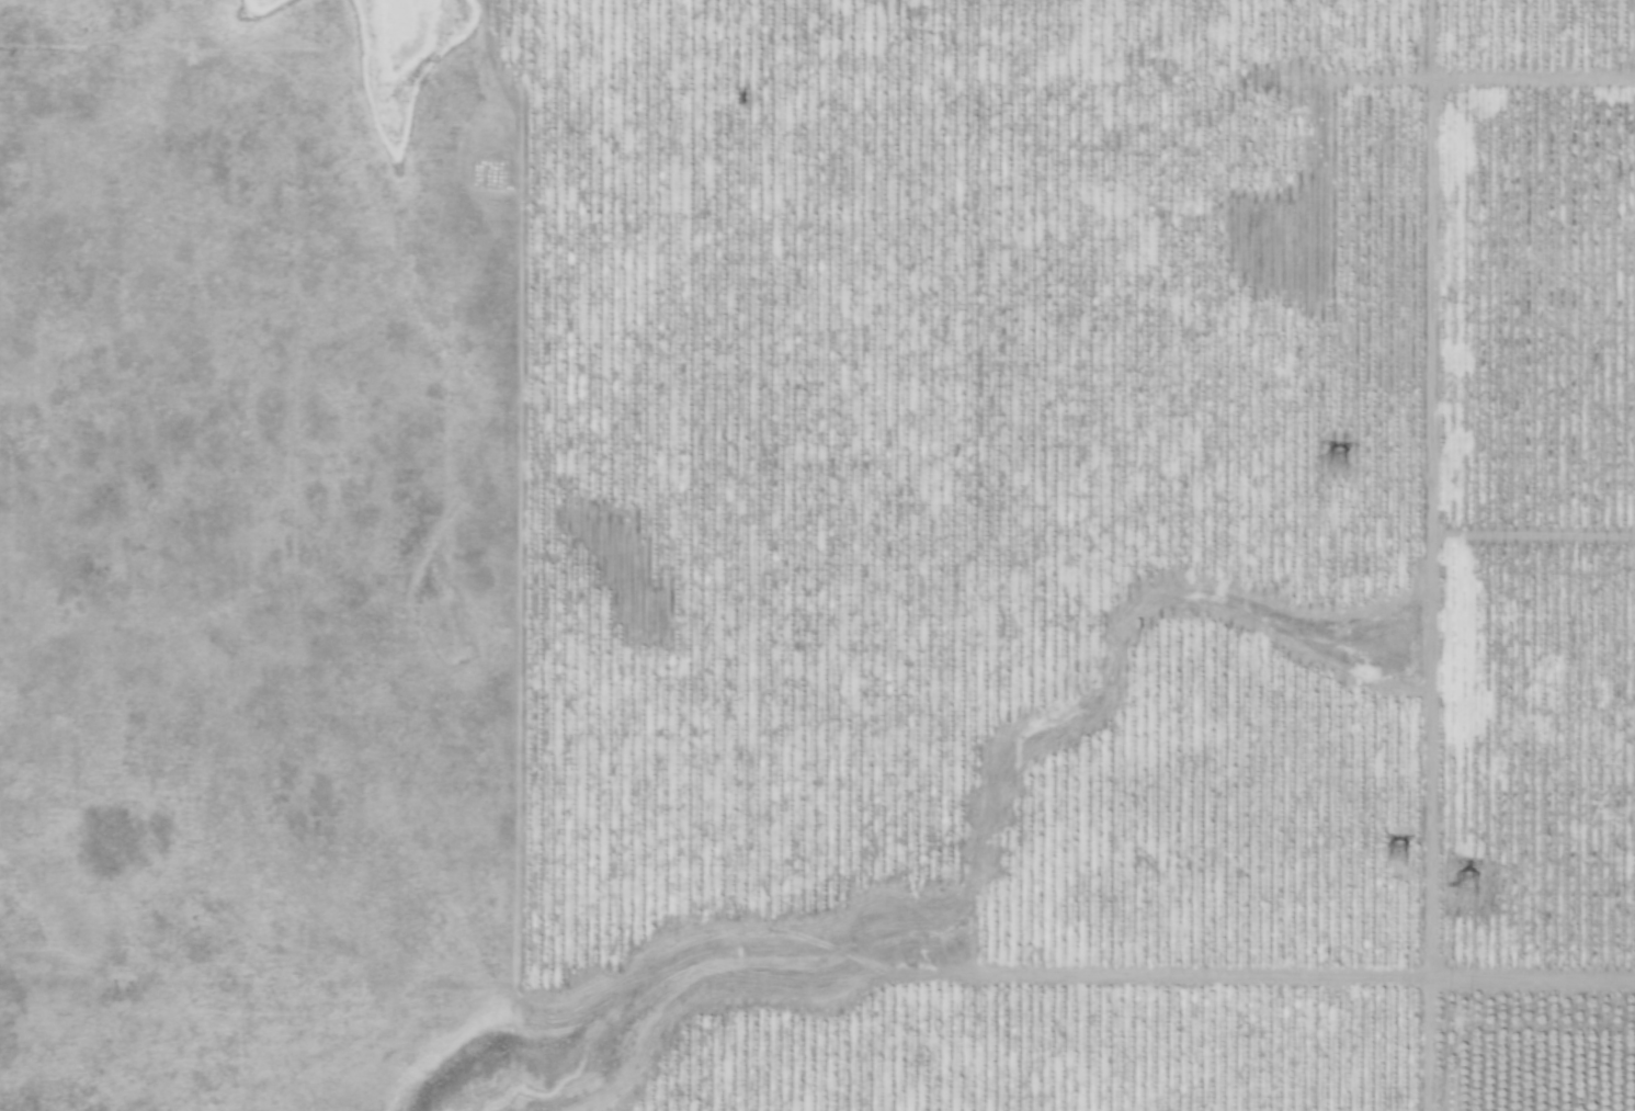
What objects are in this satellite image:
power tower: (1342, 456)
power tower: (1388, 859)
power tower: (1472, 893)

